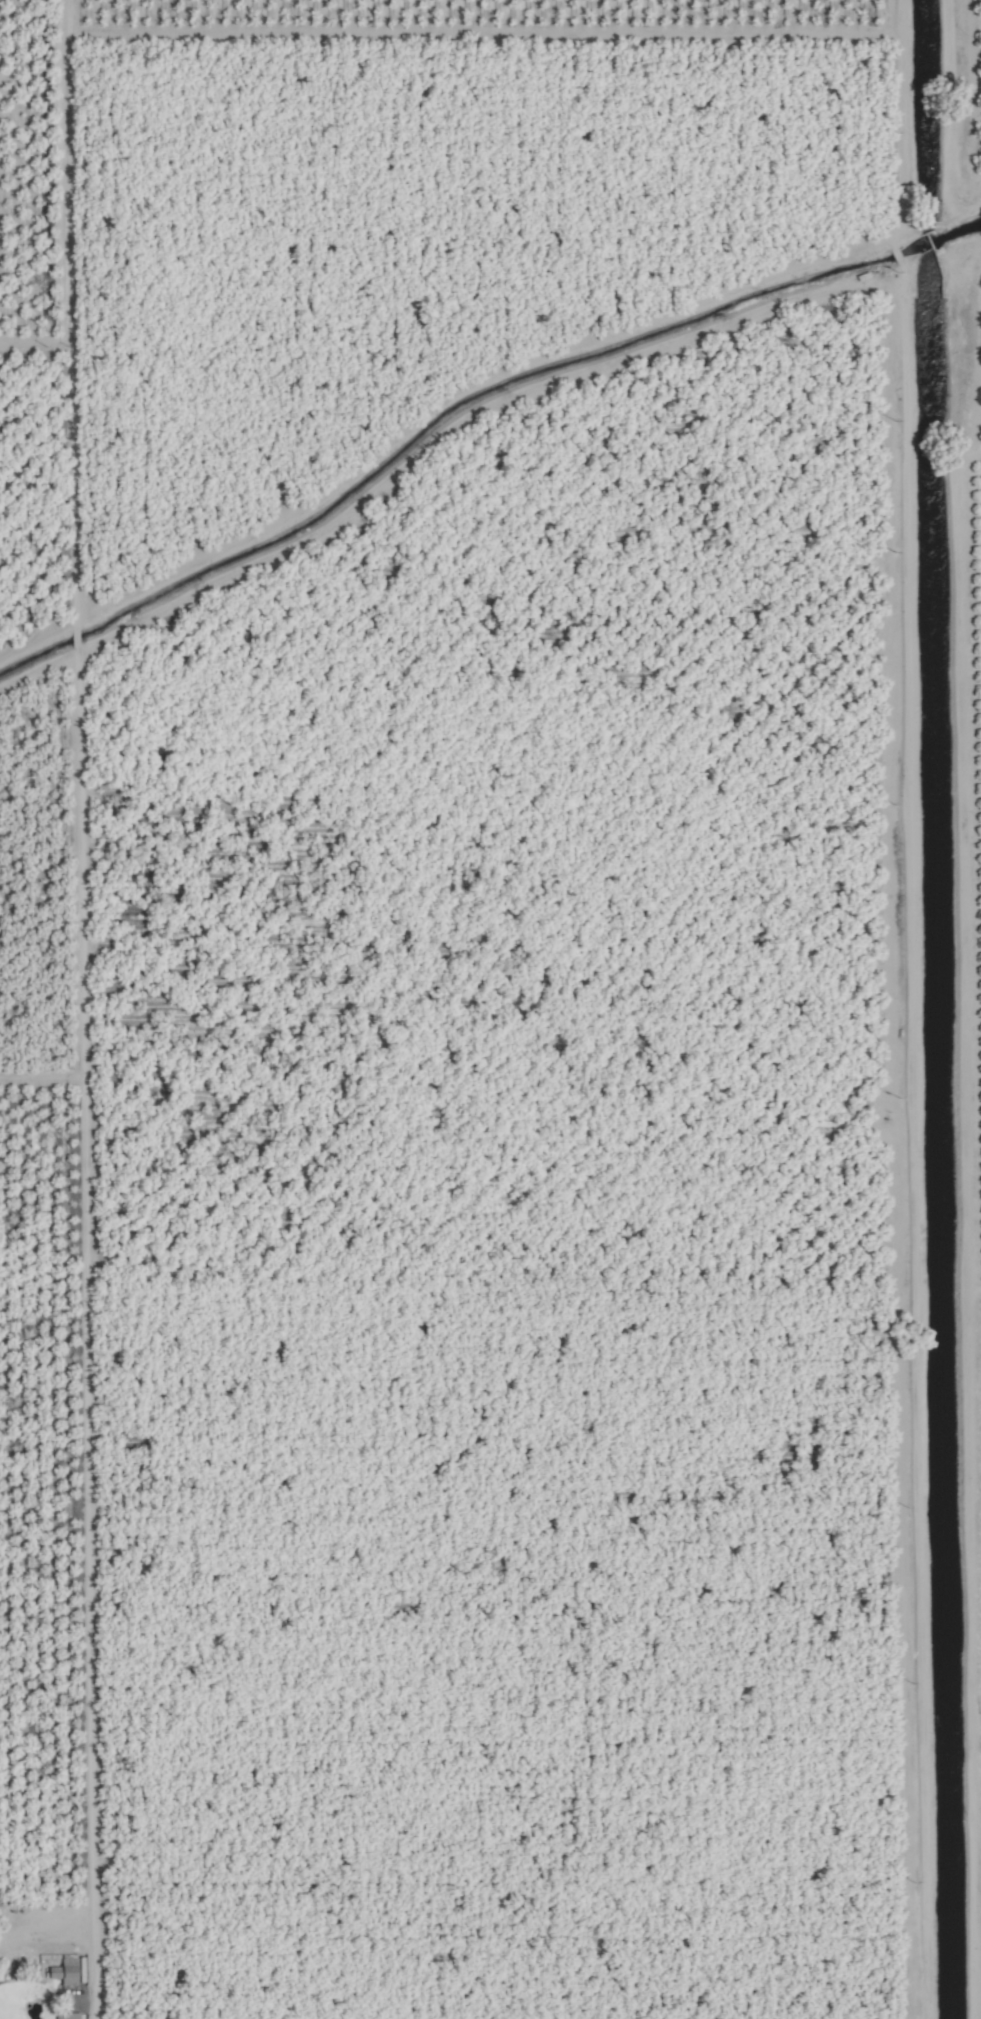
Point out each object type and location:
crop: (490, 1009)
road: (913, 1146)
road: (82, 1942)
building: (66, 2016)

